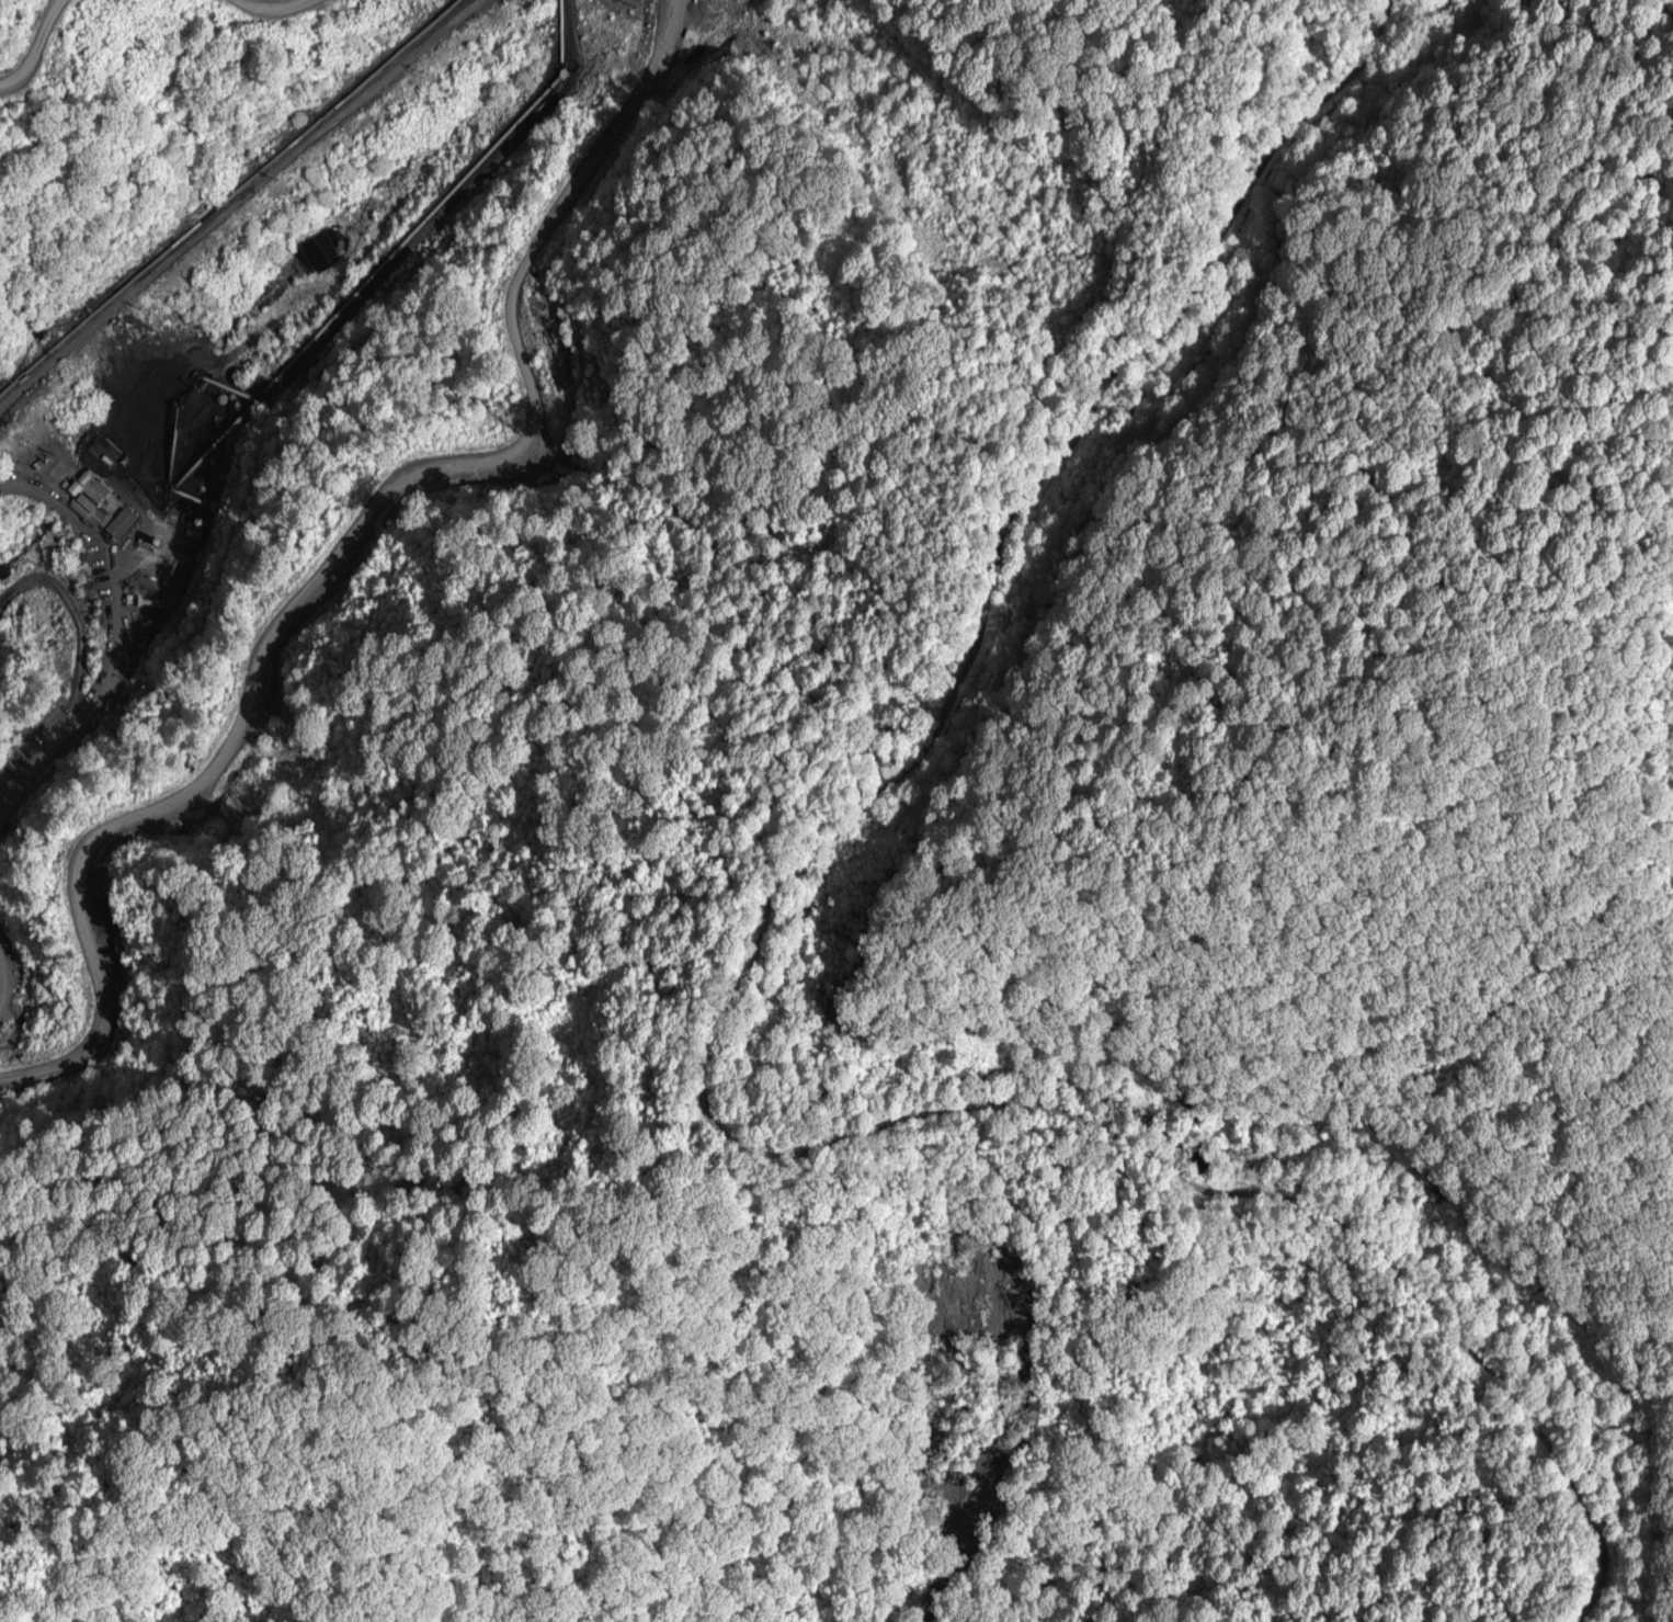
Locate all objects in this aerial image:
road: (271, 9)
road: (31, 42)
building: (105, 501)
road: (340, 535)
road: (721, 1035)

